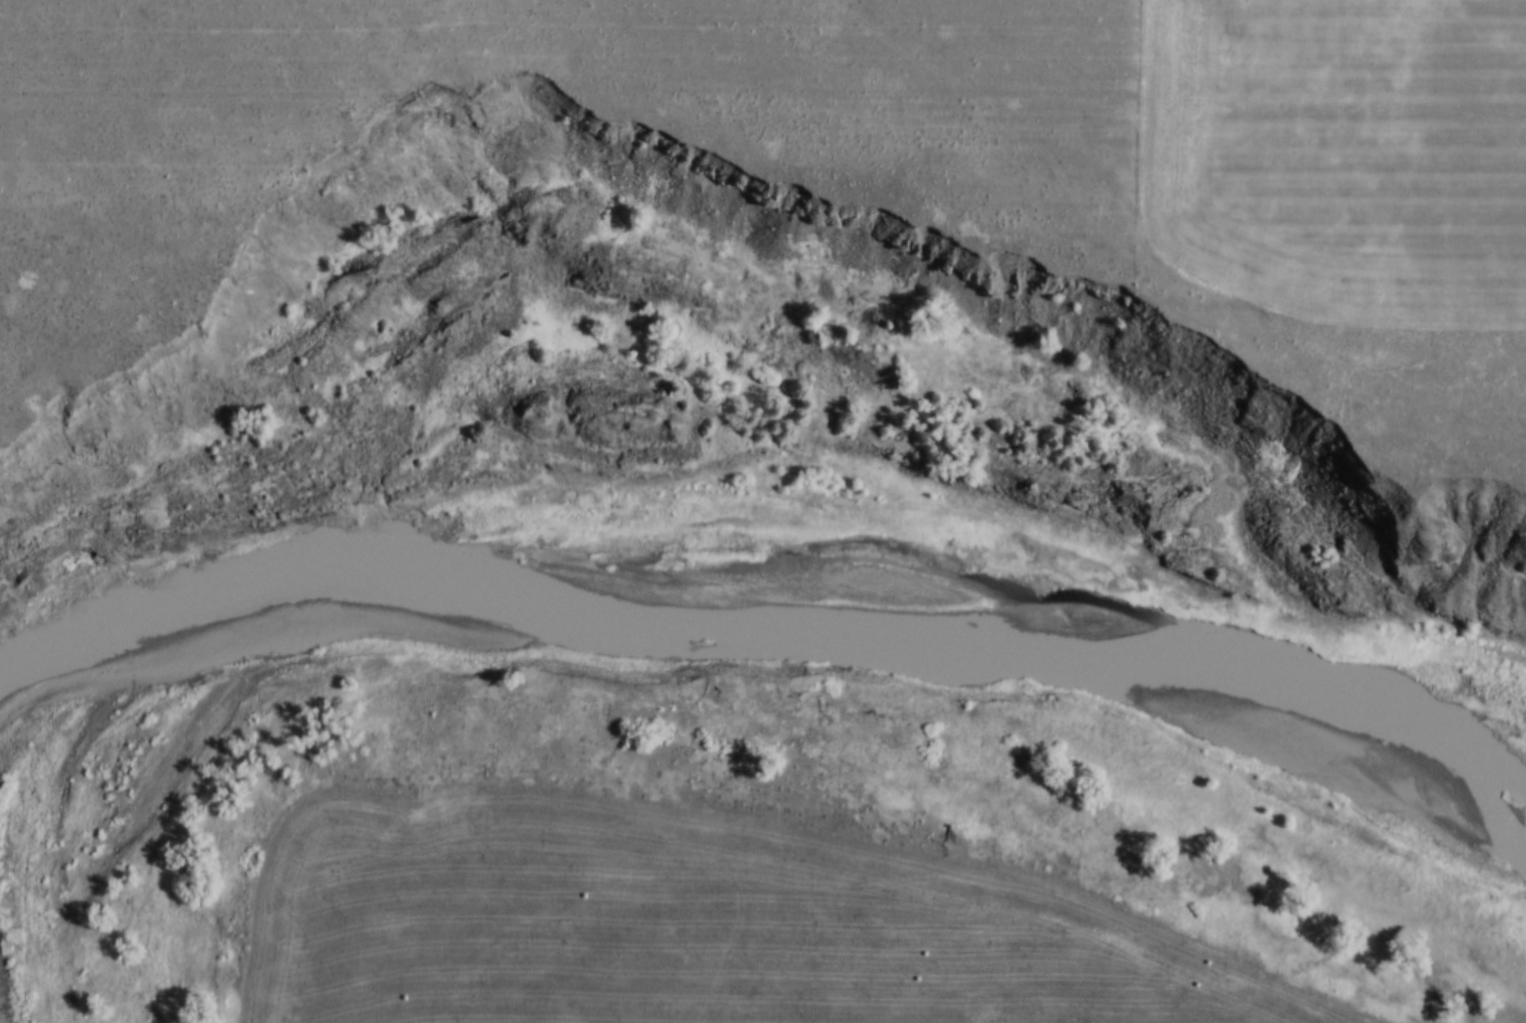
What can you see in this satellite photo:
river: (766, 602)

